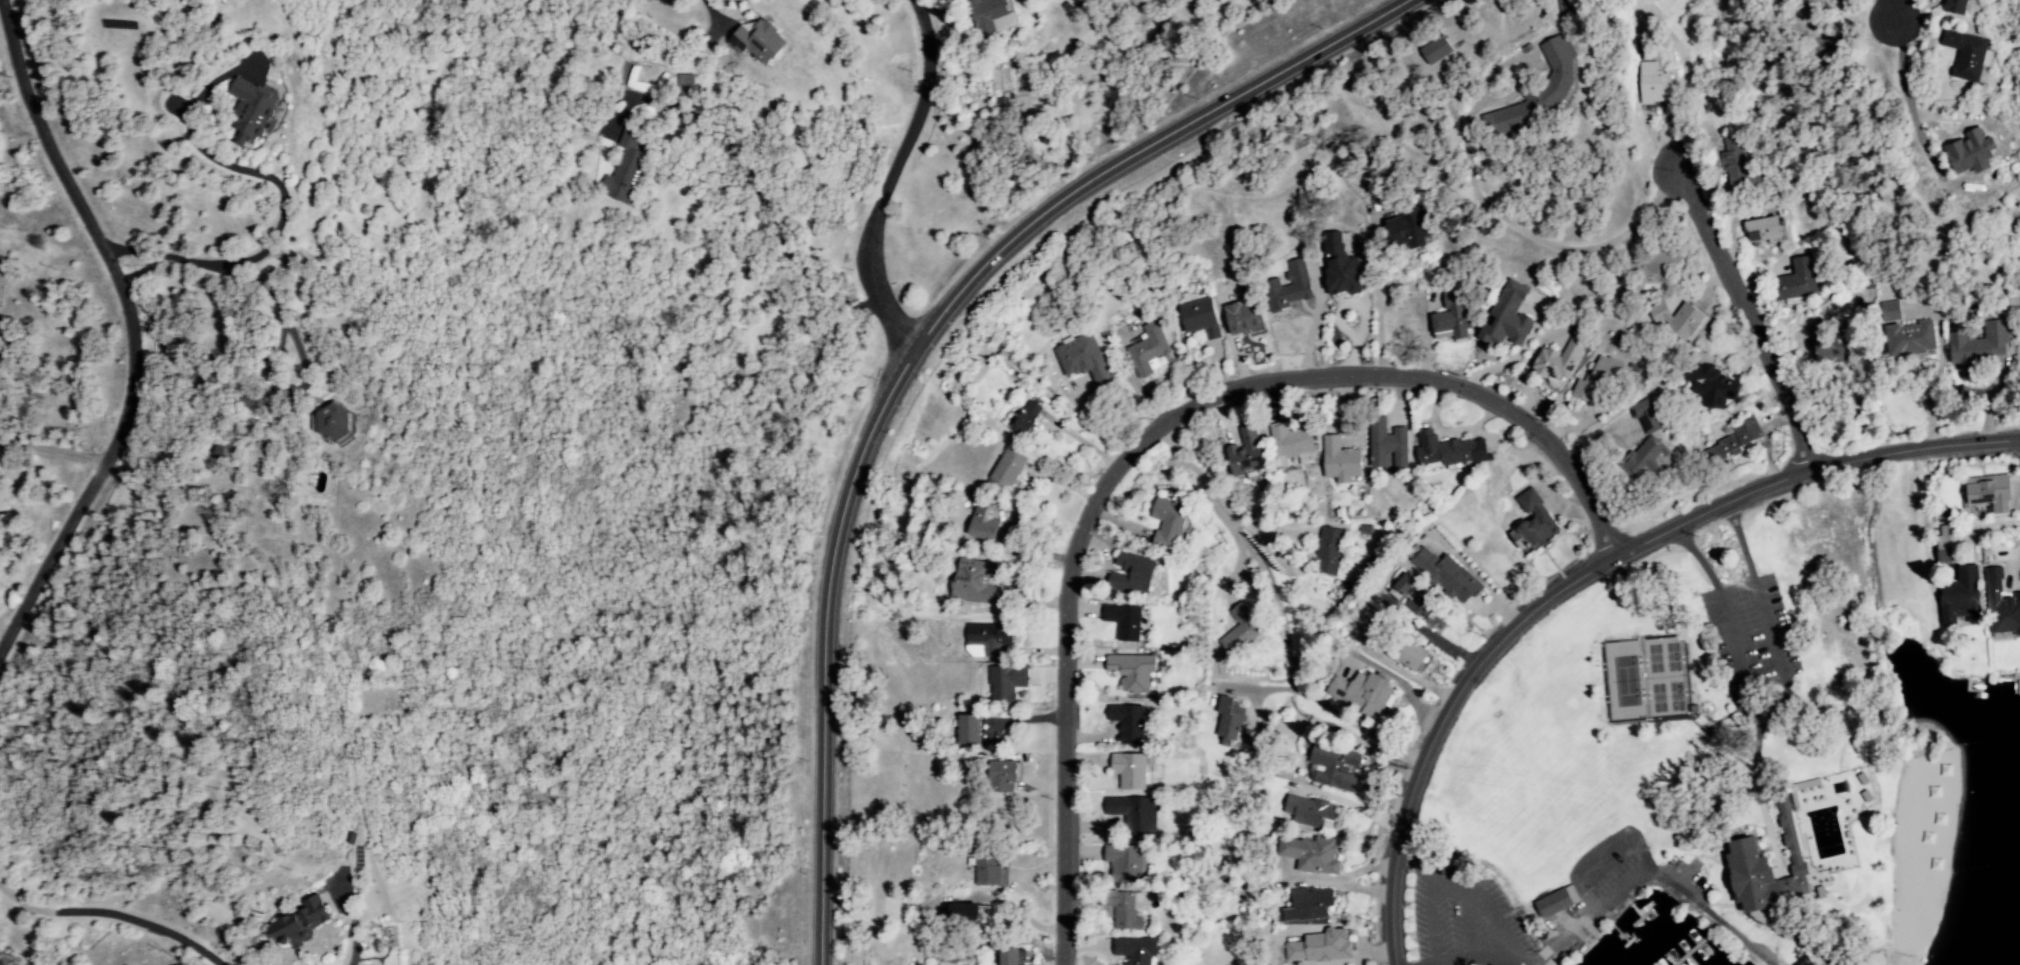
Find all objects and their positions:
building: (953, 1)
building: (1952, 7)
road: (1894, 15)
building: (994, 16)
building: (762, 41)
building: (1440, 48)
building: (1963, 55)
building: (1655, 83)
building: (1540, 92)
road: (1909, 100)
road: (1682, 103)
building: (257, 110)
building: (1967, 152)
building: (1737, 165)
building: (626, 169)
road: (889, 182)
building: (1409, 229)
building: (1764, 229)
road: (258, 258)
building: (1652, 264)
building: (1340, 267)
building: (1801, 279)
building: (1289, 287)
road: (1378, 305)
road: (280, 309)
building: (1247, 312)
building: (1509, 316)
building: (1453, 317)
building: (1201, 318)
building: (1681, 319)
road: (1744, 319)
road: (128, 330)
building: (1907, 332)
building: (1979, 345)
building: (1827, 346)
building: (1150, 351)
building: (1084, 359)
building: (1561, 360)
road: (918, 362)
building: (1715, 388)
building: (1029, 418)
building: (336, 421)
road: (1148, 436)
building: (1653, 437)
building: (1737, 439)
building: (1292, 443)
building: (1388, 445)
road: (1170, 448)
building: (1450, 450)
road: (49, 451)
building: (1250, 452)
building: (1341, 461)
building: (1011, 469)
building: (1989, 493)
building: (1537, 519)
building: (987, 521)
road: (1222, 522)
building: (1170, 523)
road: (1739, 540)
road: (1268, 548)
building: (1949, 549)
building: (1330, 551)
road: (1696, 558)
building: (1134, 572)
road: (1585, 573)
building: (1447, 575)
building: (976, 582)
building: (1963, 598)
building: (1417, 600)
building: (2002, 605)
building: (1125, 621)
building: (1382, 626)
building: (1242, 630)
building: (989, 640)
building: (1410, 652)
building: (1135, 672)
road: (1764, 672)
building: (1007, 683)
building: (1365, 693)
building: (1231, 718)
building: (1129, 723)
park: (1817, 729)
building: (971, 730)
building: (1337, 768)
building: (1130, 771)
building: (1004, 774)
building: (1310, 811)
building: (1134, 813)
building: (1315, 854)
building: (1125, 863)
building: (988, 868)
building: (1771, 868)
building: (1555, 903)
building: (1311, 904)
building: (1126, 909)
road: (1490, 913)
building: (963, 914)
road: (111, 916)
building: (304, 920)
road: (354, 936)
building: (1321, 947)
building: (1137, 950)
building: (1009, 956)
building: (864, 962)

